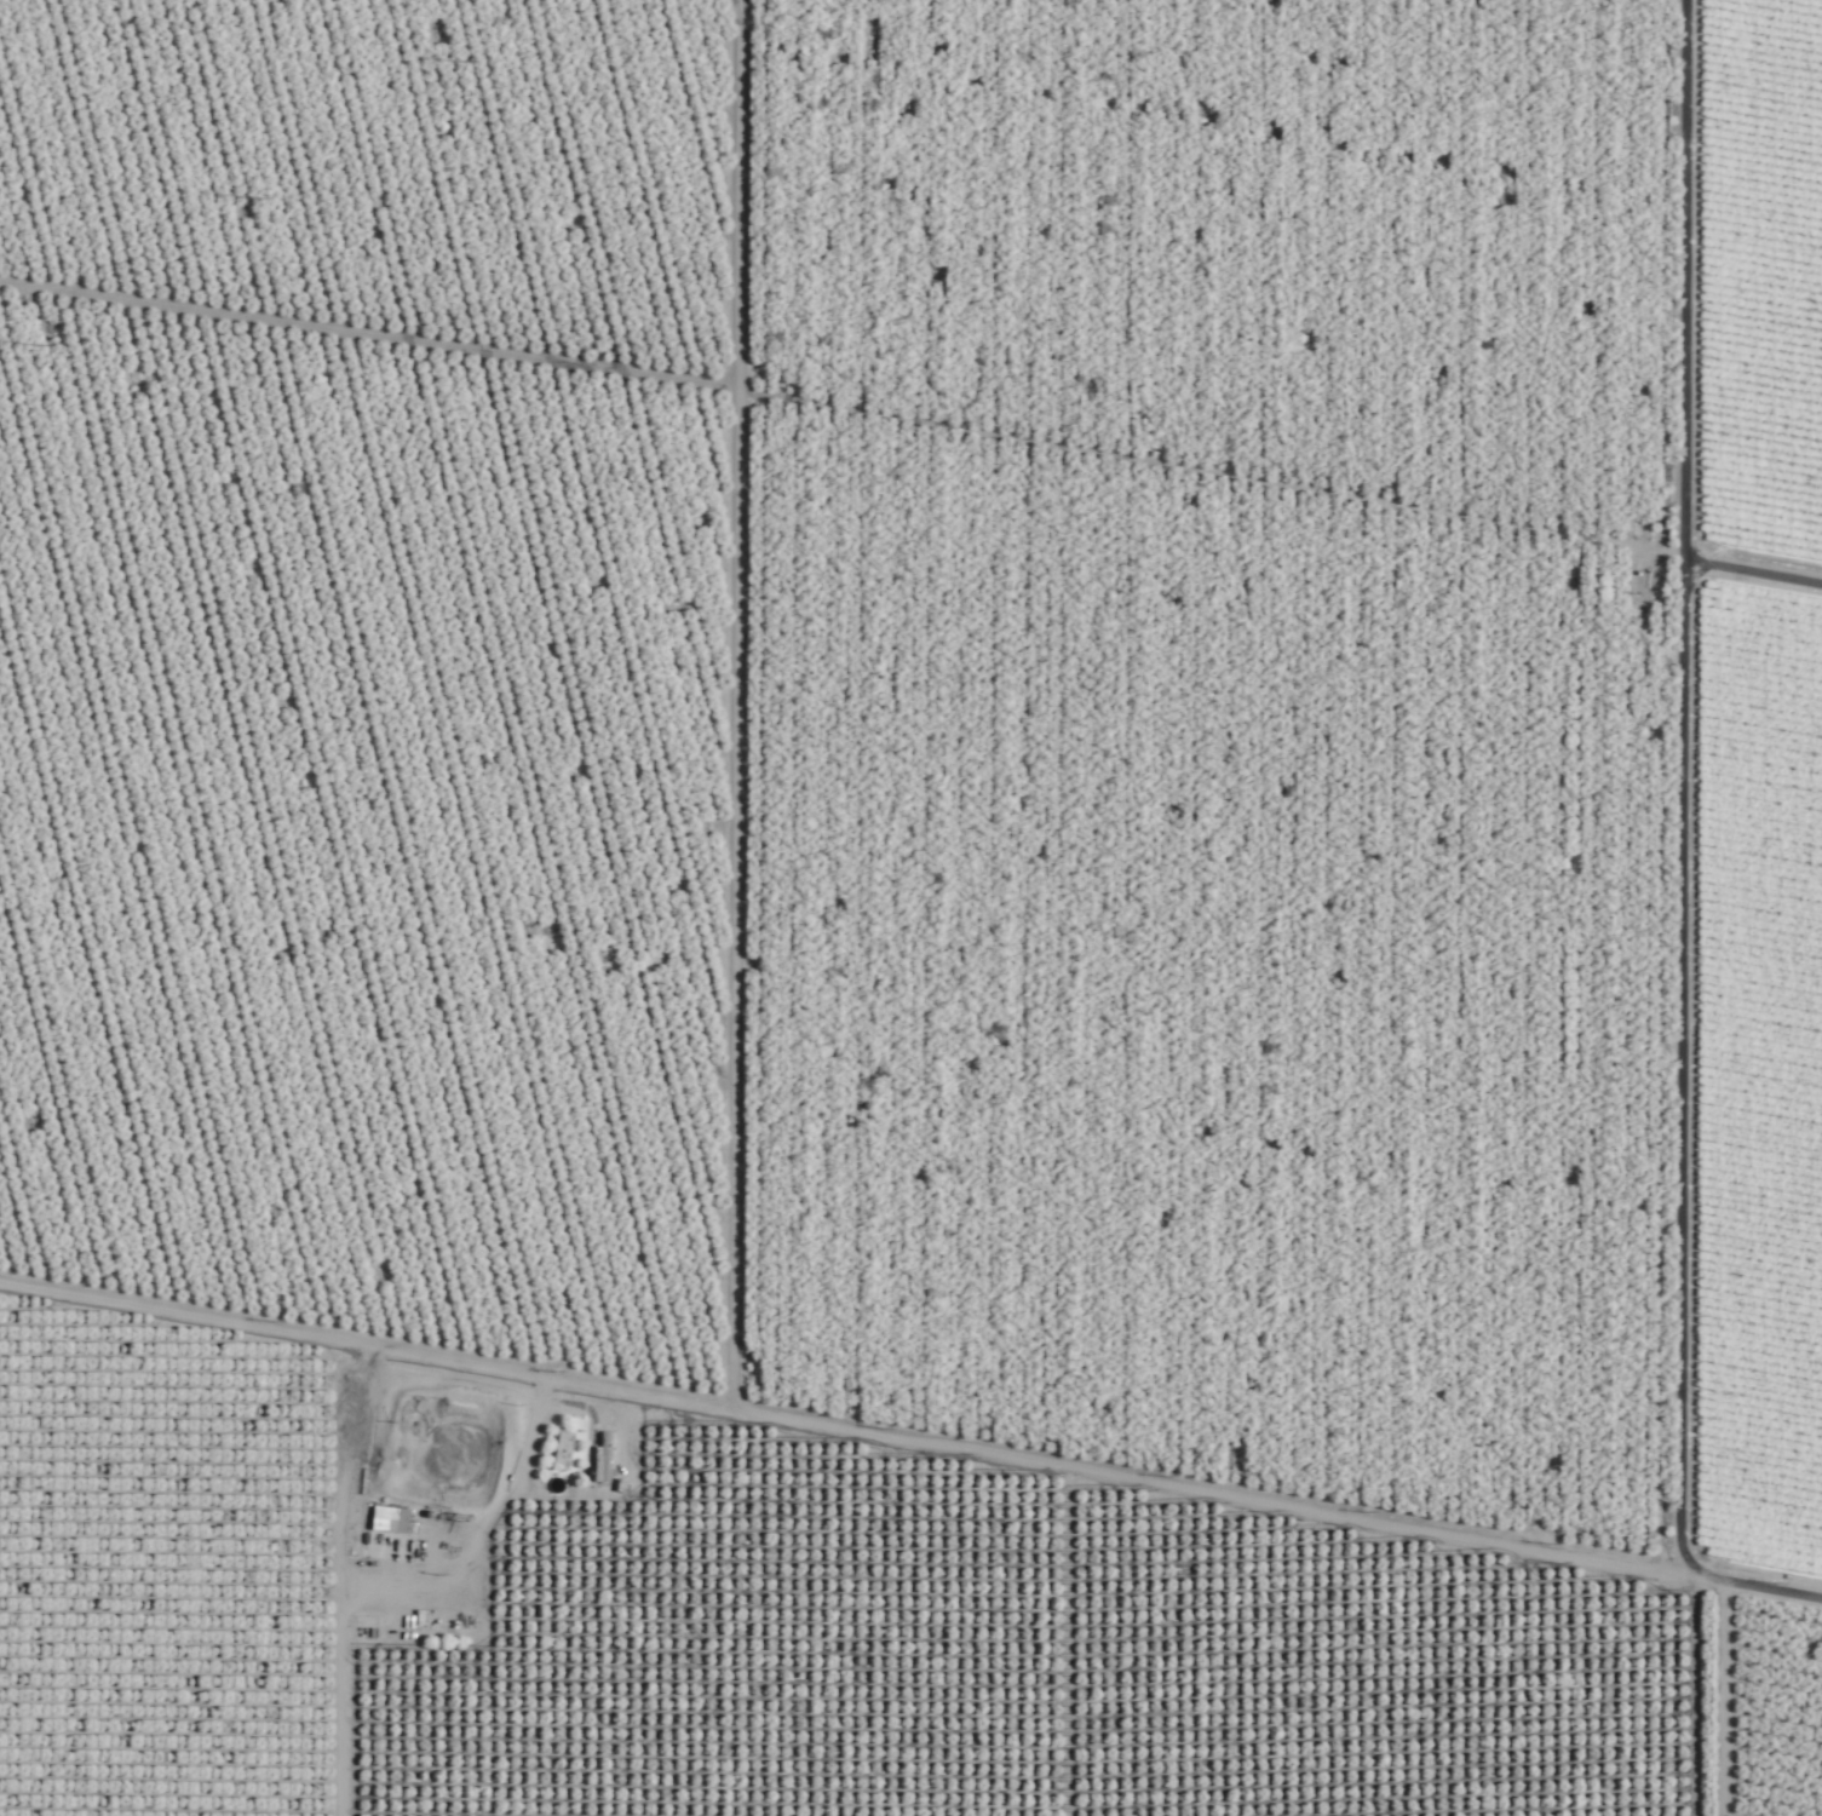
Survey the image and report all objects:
road: (1571, 785)
crop: (910, 908)
building: (561, 1452)
building: (603, 1458)
road: (913, 1460)
wastewater plant: (447, 1466)
building: (390, 1521)
building: (182, 1562)
road: (1715, 1716)
building: (1241, 1759)
building: (1102, 1769)

